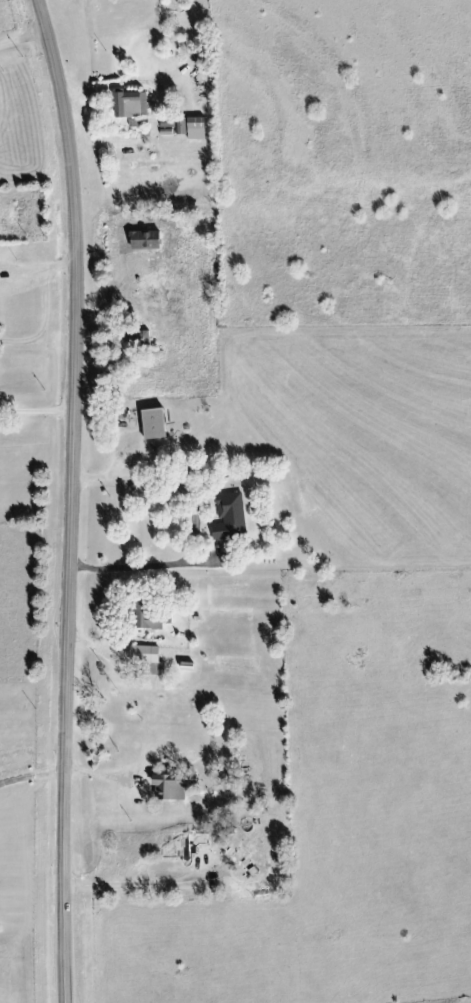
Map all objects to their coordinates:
road: (22, 37)
road: (94, 88)
building: (131, 104)
building: (172, 125)
building: (195, 128)
road: (42, 266)
building: (5, 278)
building: (128, 288)
road: (96, 310)
building: (138, 339)
road: (35, 411)
building: (153, 424)
road: (162, 472)
road: (69, 499)
building: (227, 516)
road: (145, 566)
building: (145, 613)
building: (143, 653)
road: (31, 775)
building: (170, 786)
building: (182, 848)
road: (137, 884)

